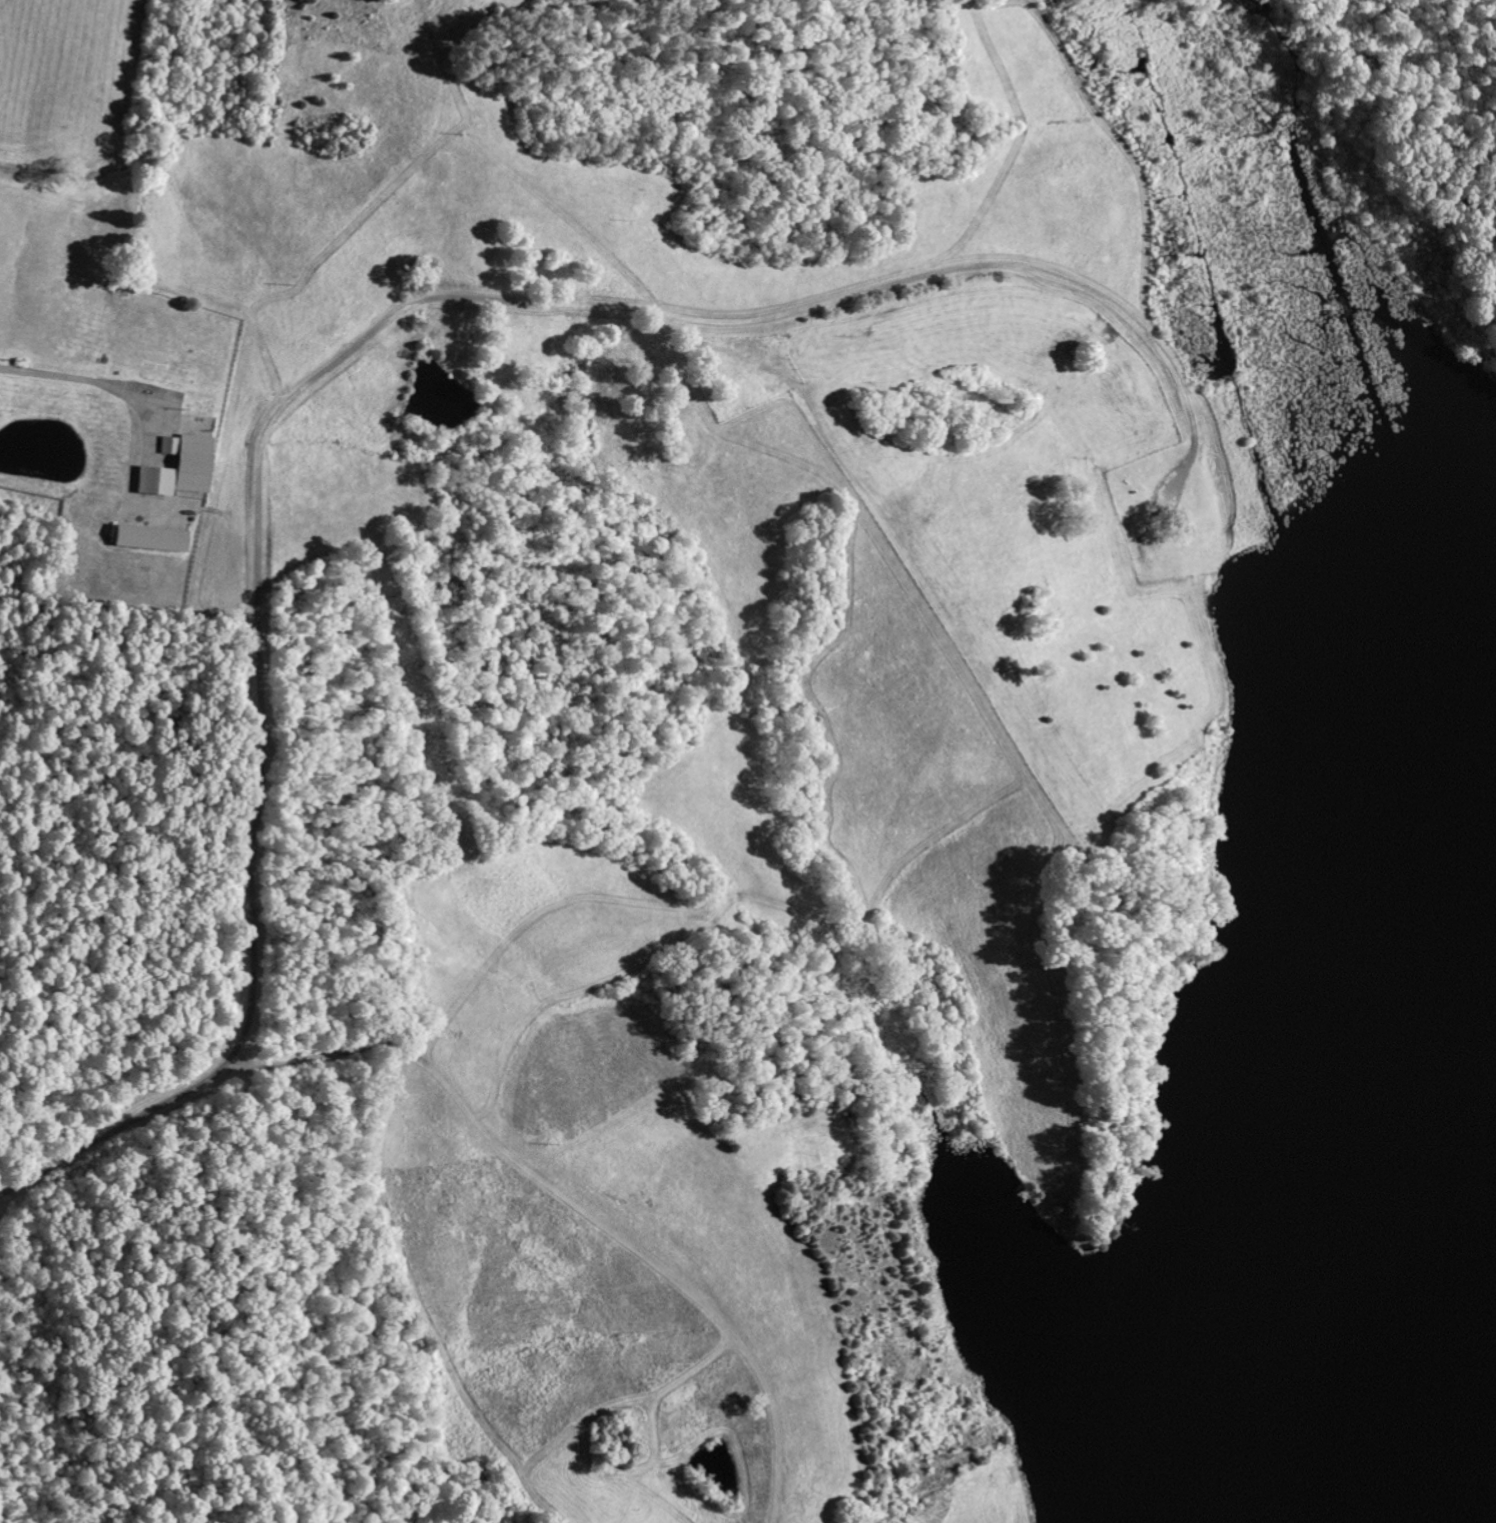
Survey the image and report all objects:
building: (180, 466)
building: (152, 537)
road: (528, 694)

